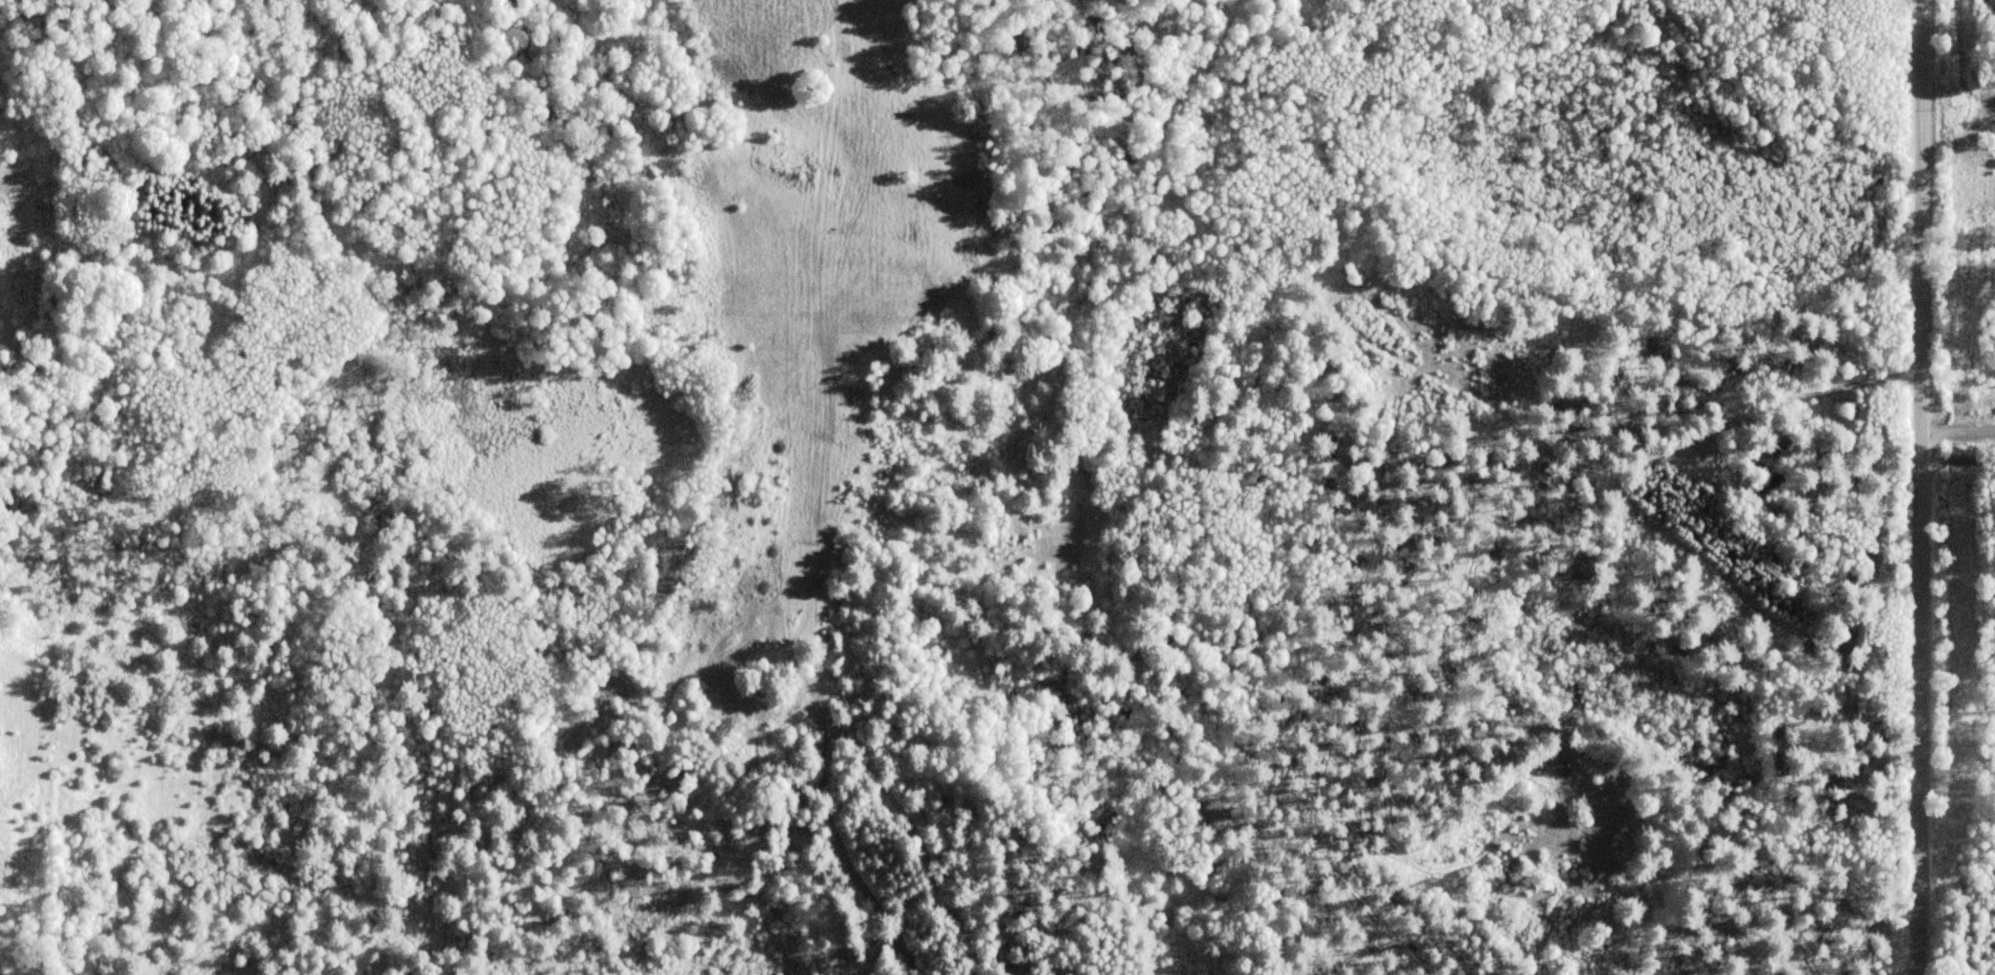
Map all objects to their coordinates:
road: (1957, 433)
road: (1919, 487)

